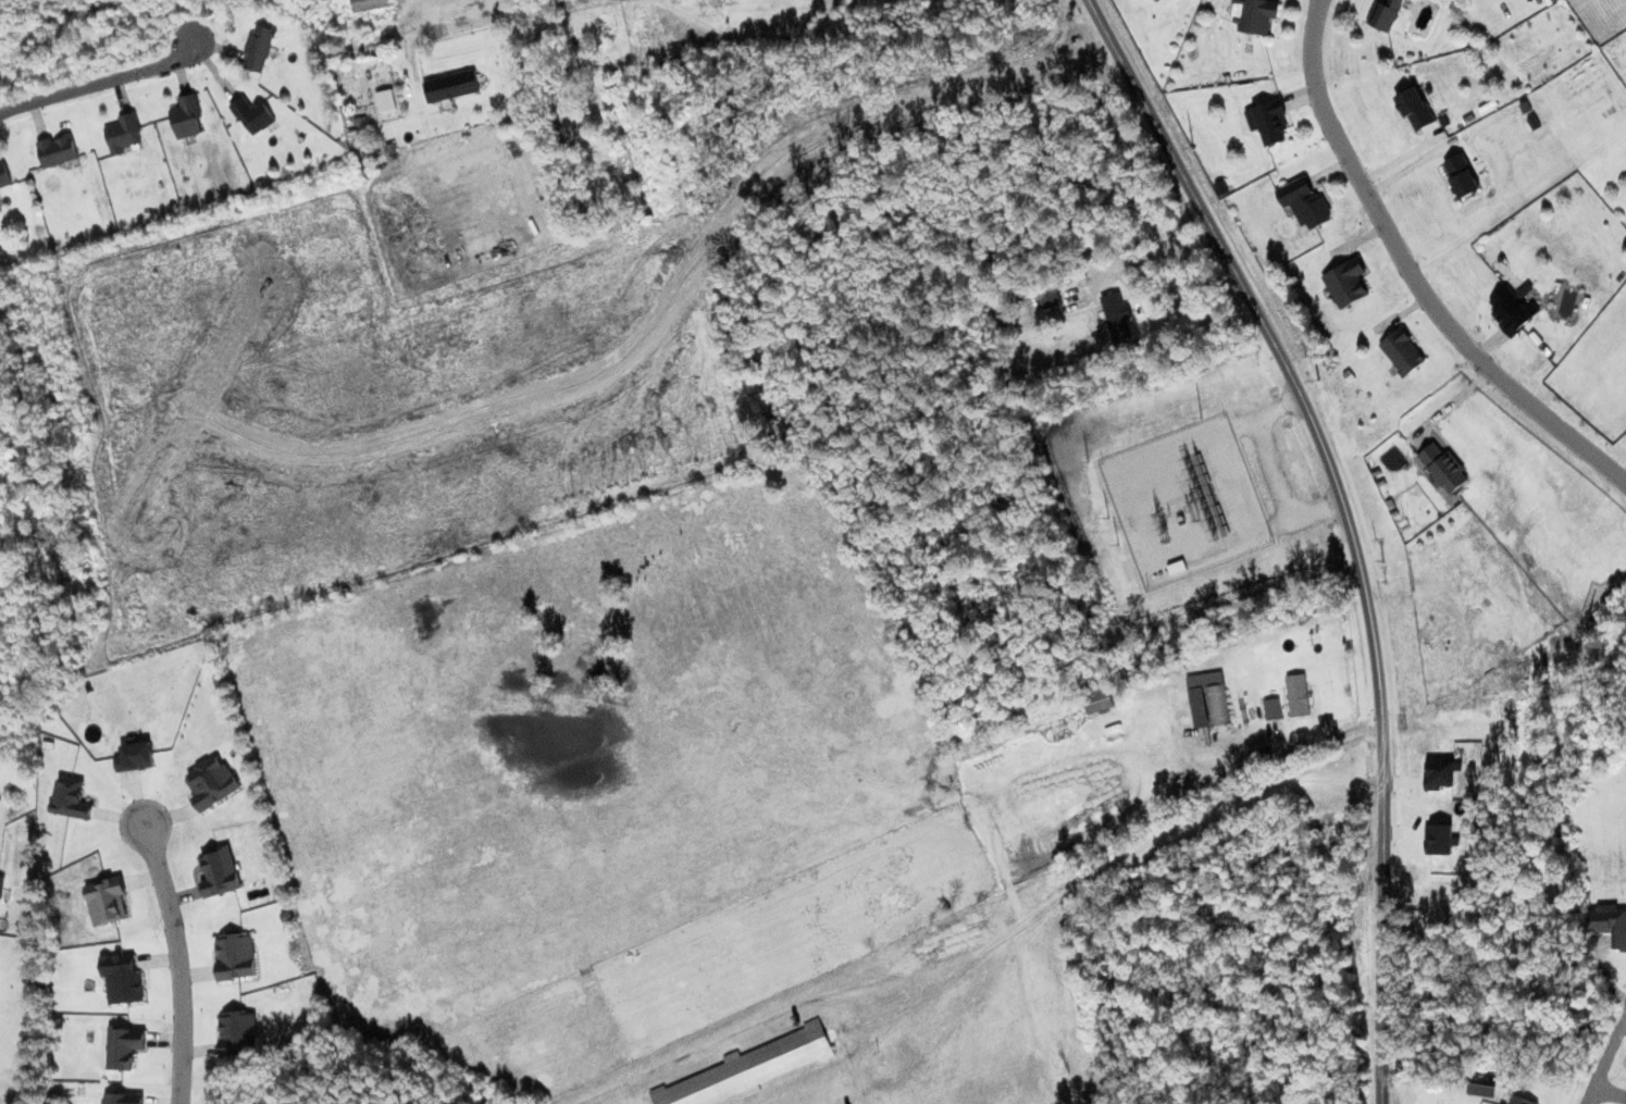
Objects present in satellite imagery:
building: (1158, 0)
building: (370, 4)
building: (1257, 14)
building: (1387, 14)
road: (504, 16)
building: (656, 41)
building: (259, 48)
road: (102, 80)
building: (451, 86)
building: (1415, 108)
building: (253, 114)
building: (187, 116)
building: (1270, 121)
building: (124, 133)
building: (58, 150)
building: (4, 174)
building: (1462, 175)
building: (1304, 201)
road: (1414, 275)
building: (1346, 282)
building: (1048, 296)
road: (671, 299)
building: (1512, 310)
building: (1117, 315)
building: (1402, 351)
road: (194, 405)
building: (1447, 469)
power substation: (1187, 500)
road: (1348, 522)
building: (1298, 694)
building: (1097, 697)
building: (1208, 698)
building: (1273, 708)
building: (135, 756)
building: (1439, 774)
building: (211, 782)
building: (71, 797)
building: (220, 871)
building: (1, 885)
building: (107, 901)
building: (1610, 922)
building: (236, 956)
road: (176, 962)
building: (122, 978)
building: (238, 1032)
building: (124, 1046)
road: (1605, 1063)
building: (749, 1068)
building: (1481, 1083)
road: (1611, 1094)
building: (123, 1099)
building: (1515, 1100)

